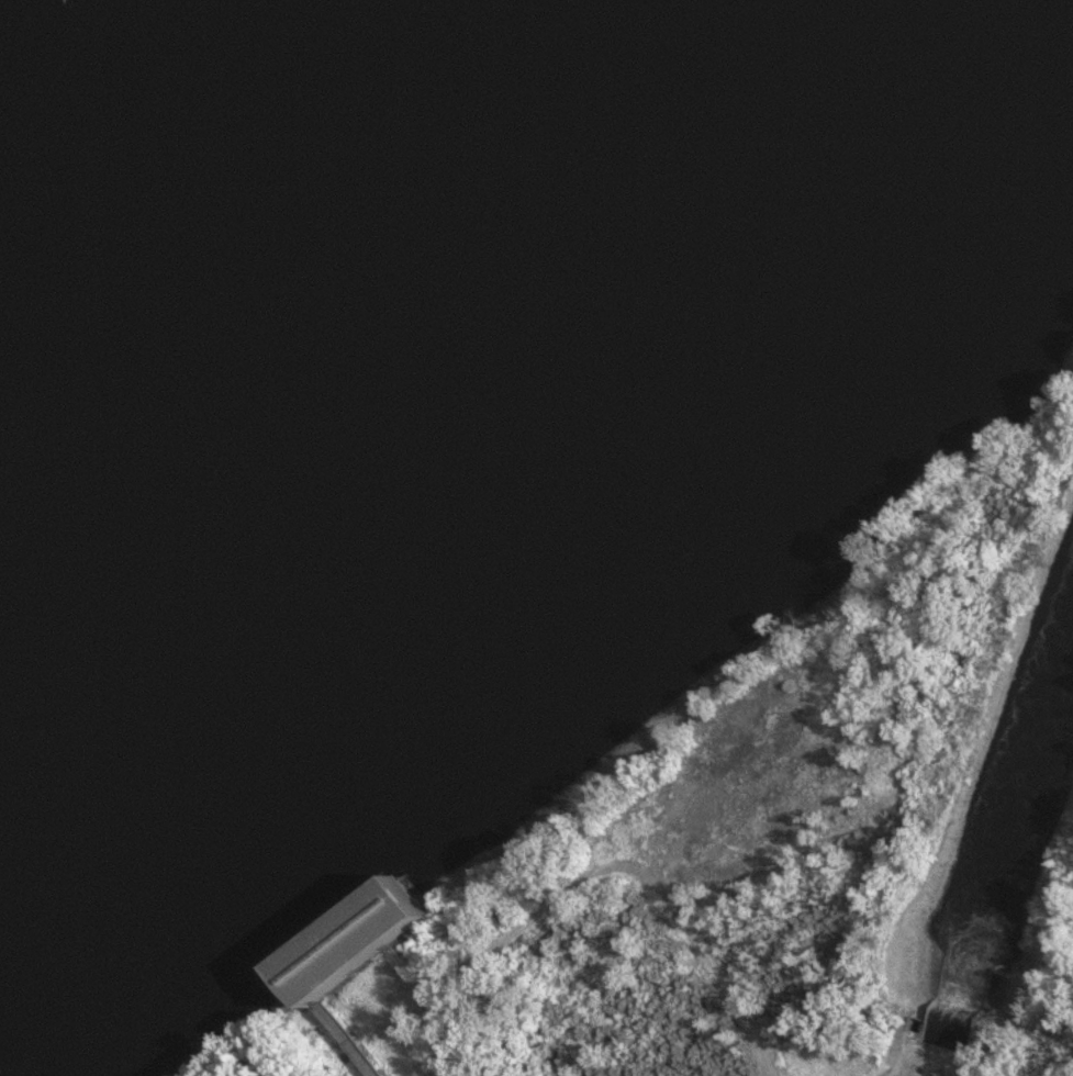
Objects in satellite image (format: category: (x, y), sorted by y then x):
river: (448, 359)
building: (358, 951)
building: (951, 997)
building: (913, 1025)
power plant: (929, 1061)

